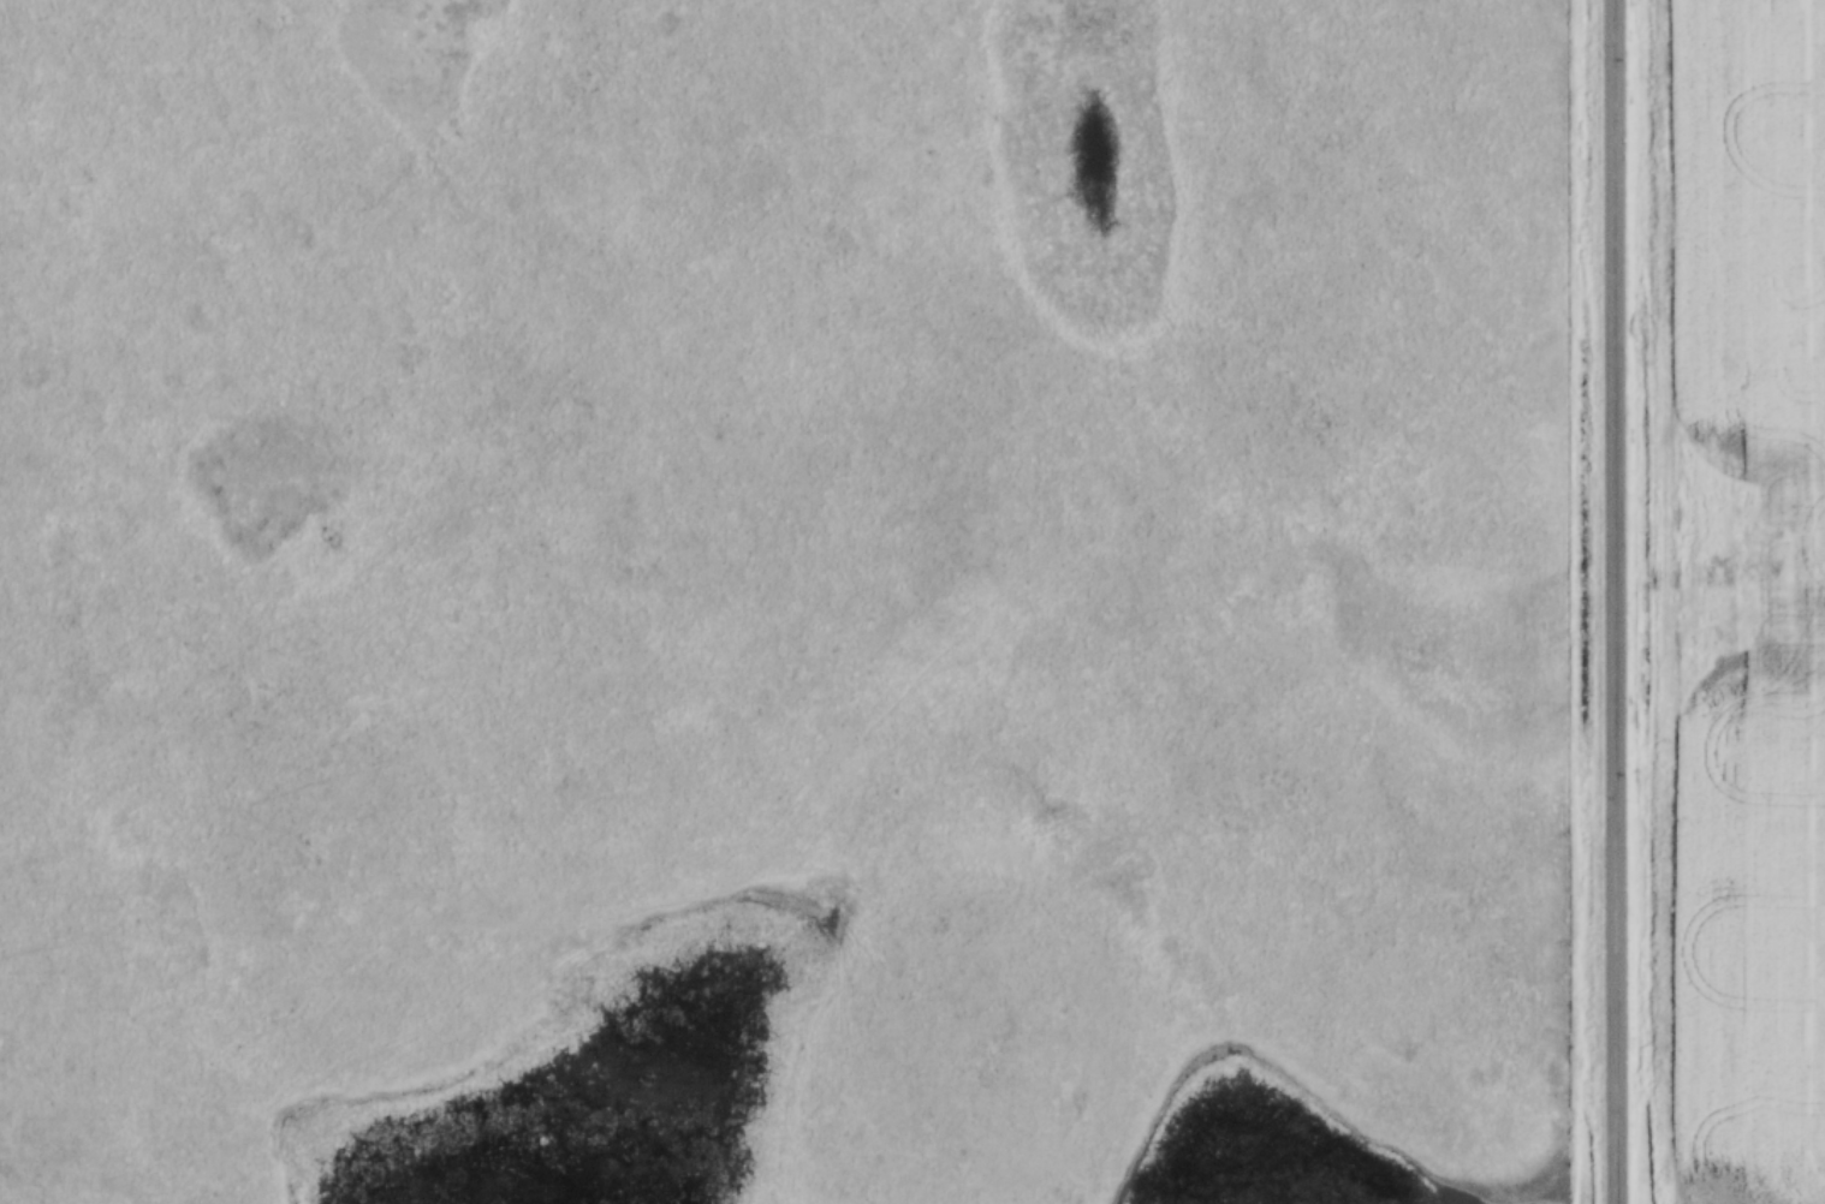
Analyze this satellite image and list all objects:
road: (1619, 601)

